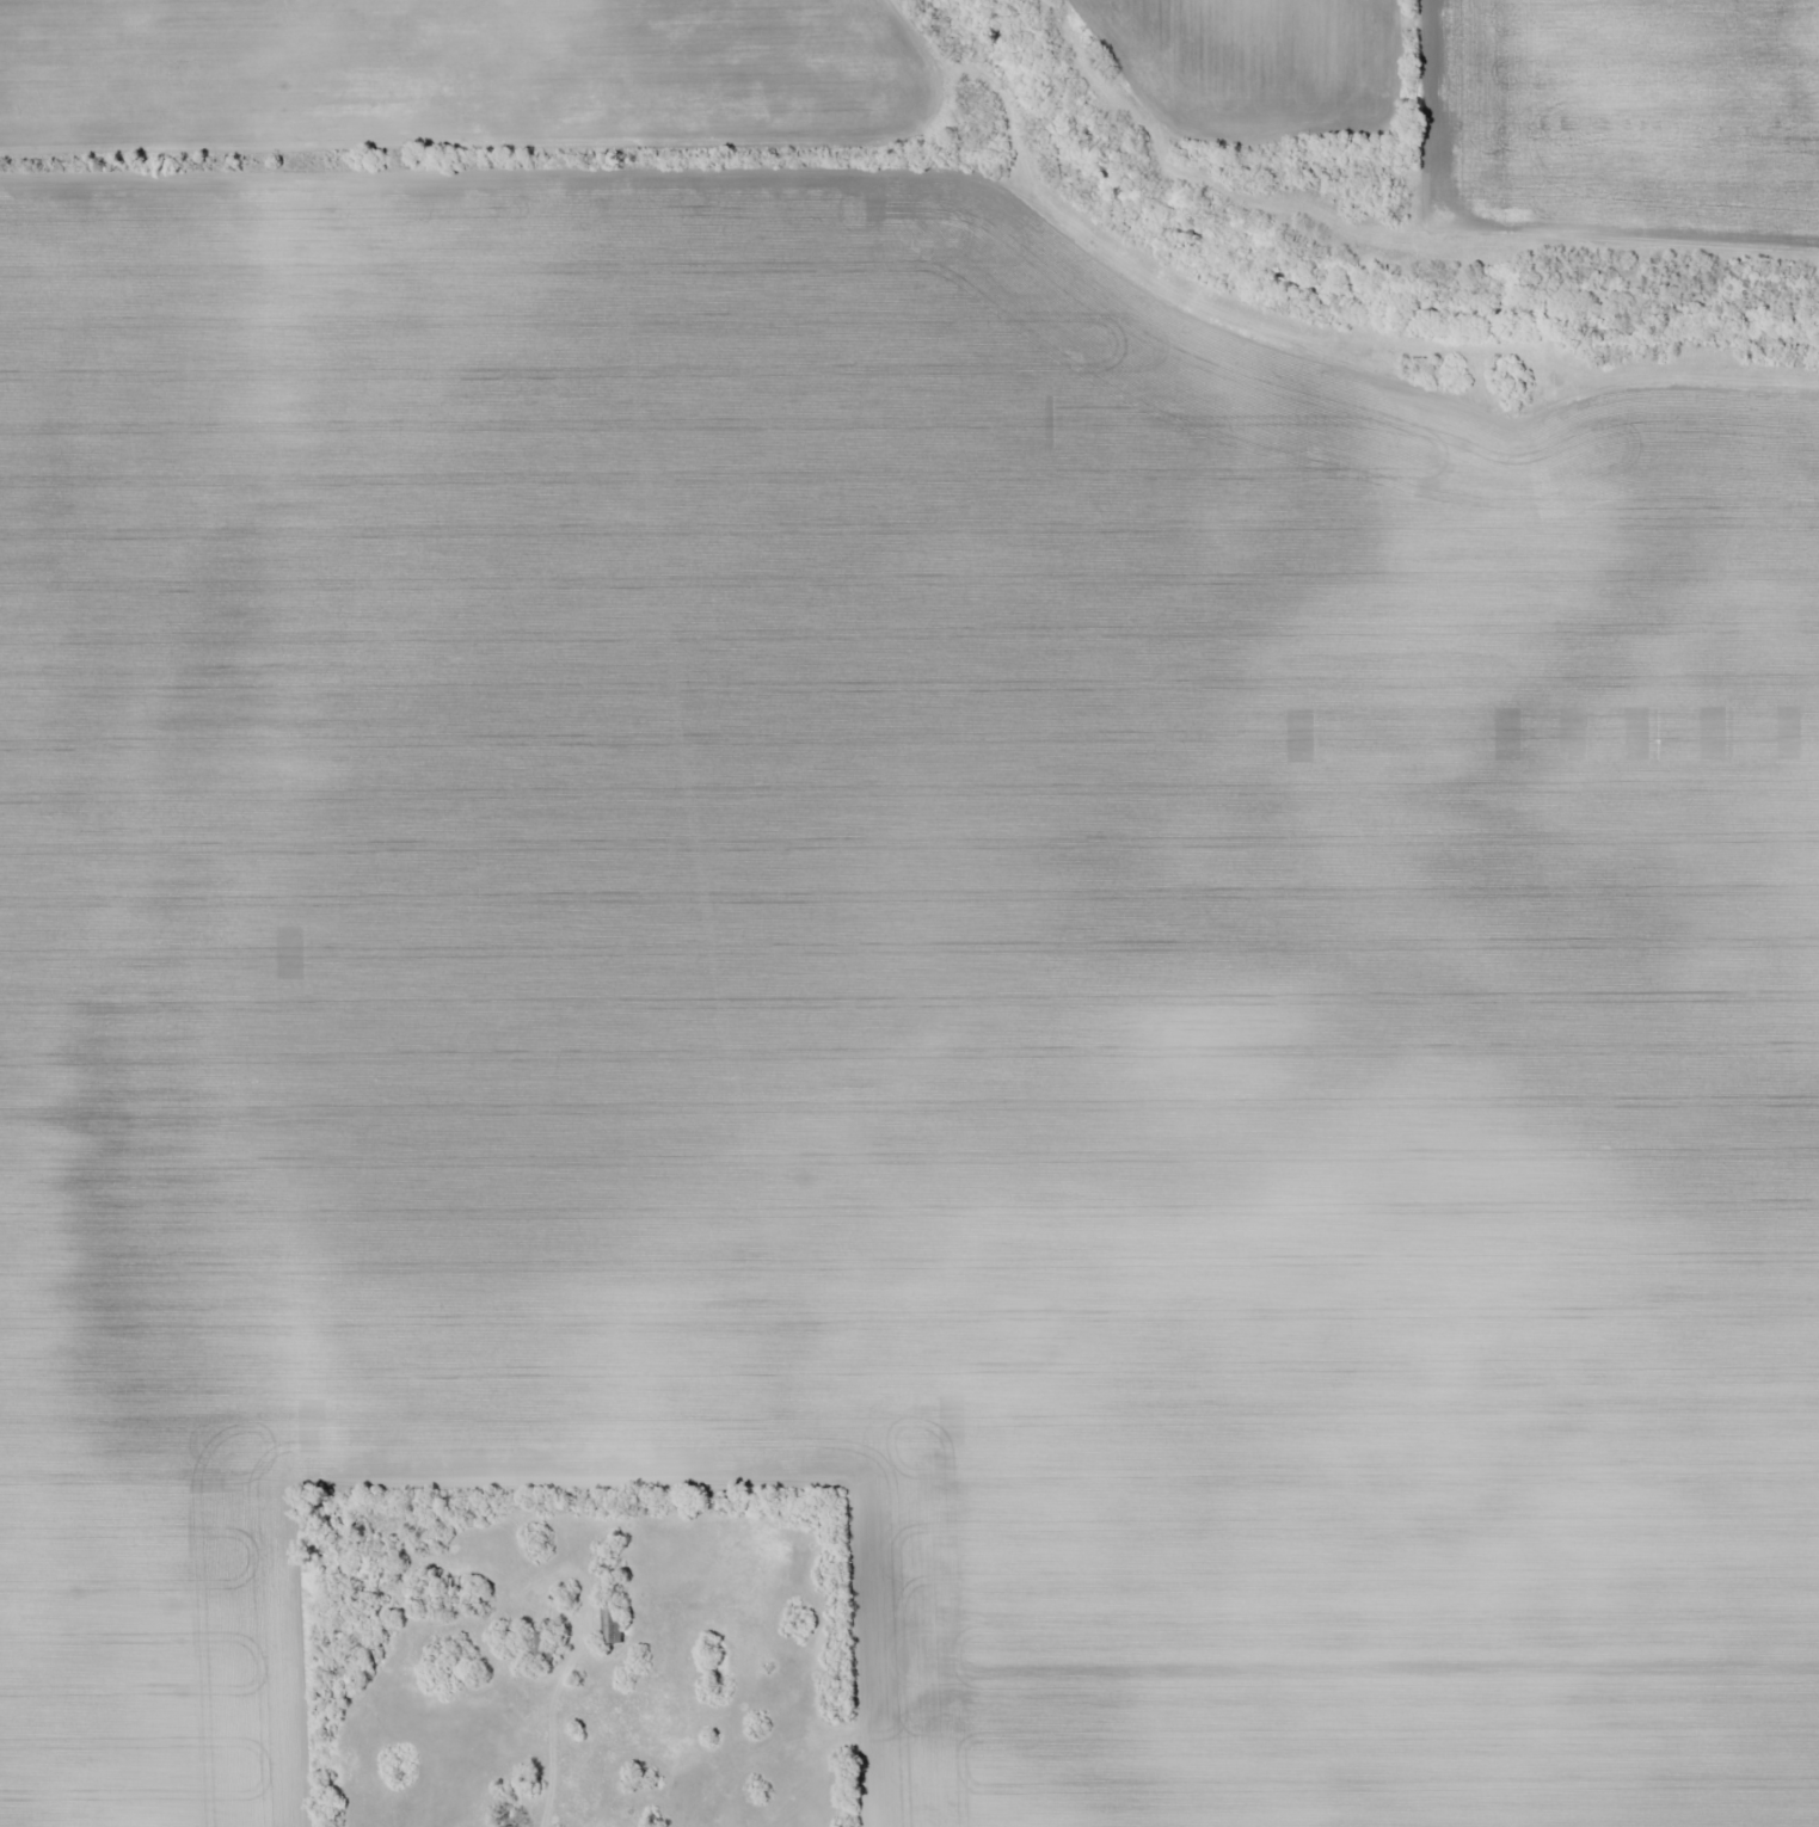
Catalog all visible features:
building: (609, 1626)
building: (535, 1643)

